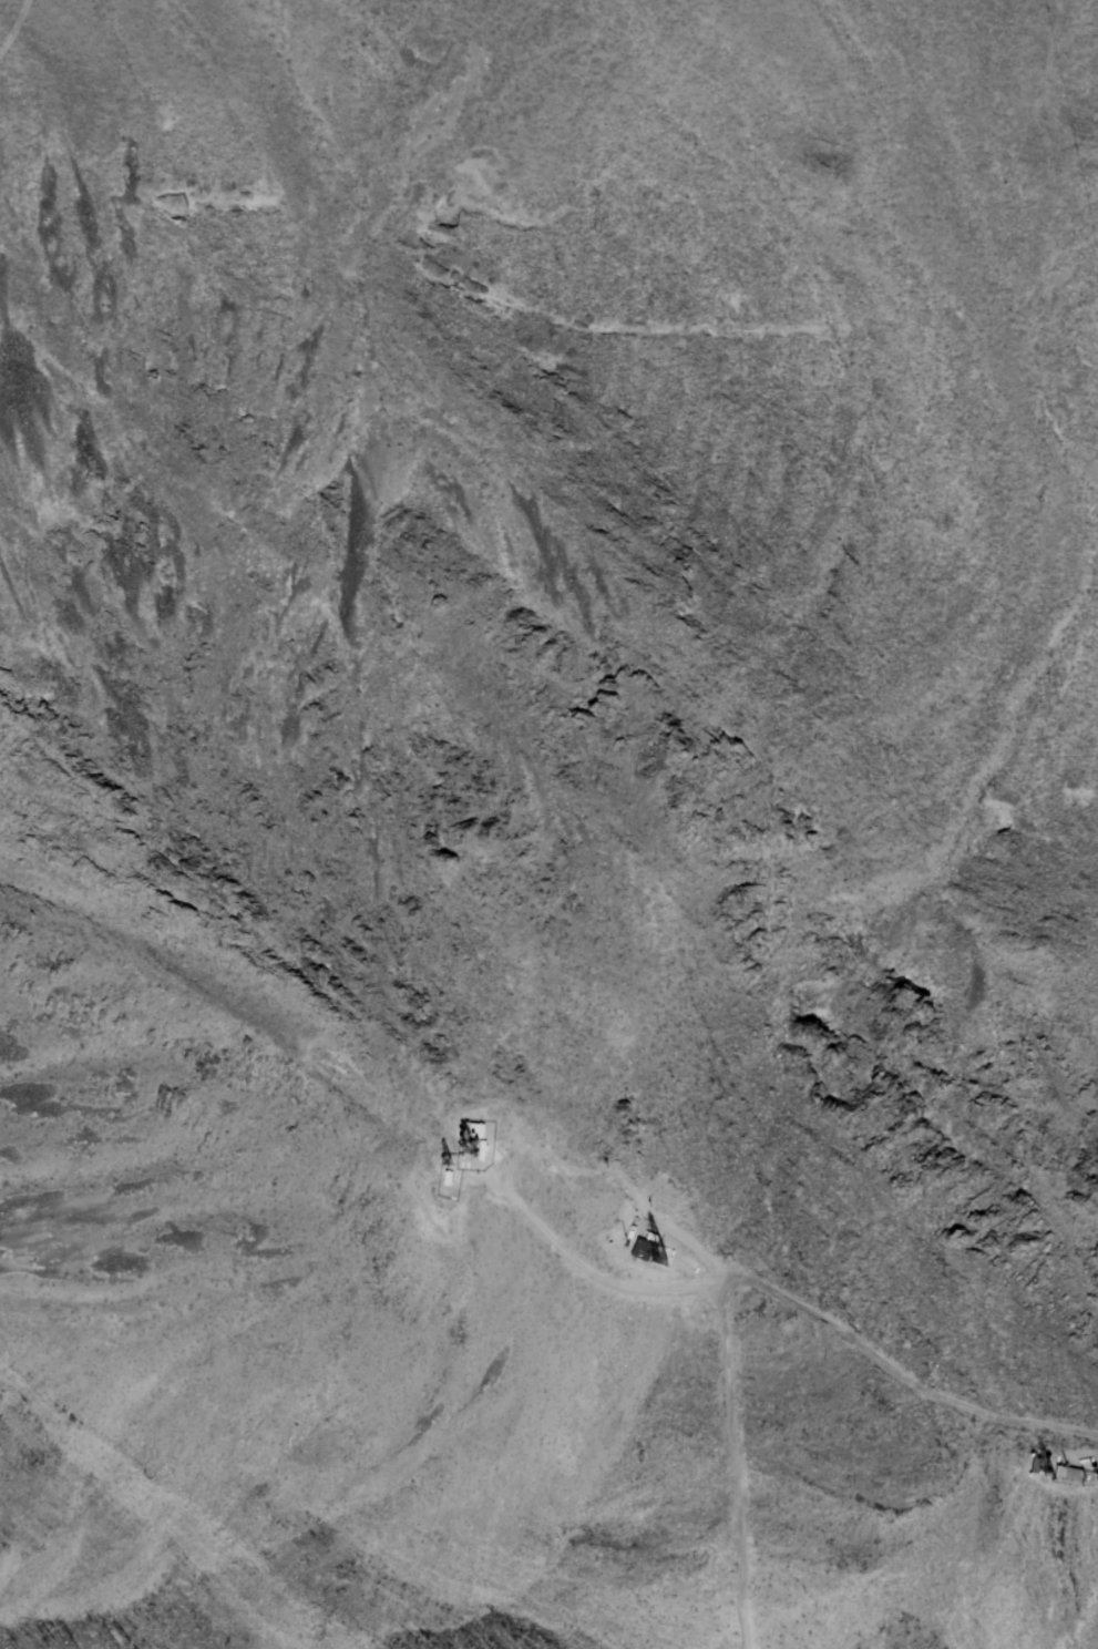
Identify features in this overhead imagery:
road: (591, 1280)
road: (750, 1284)

